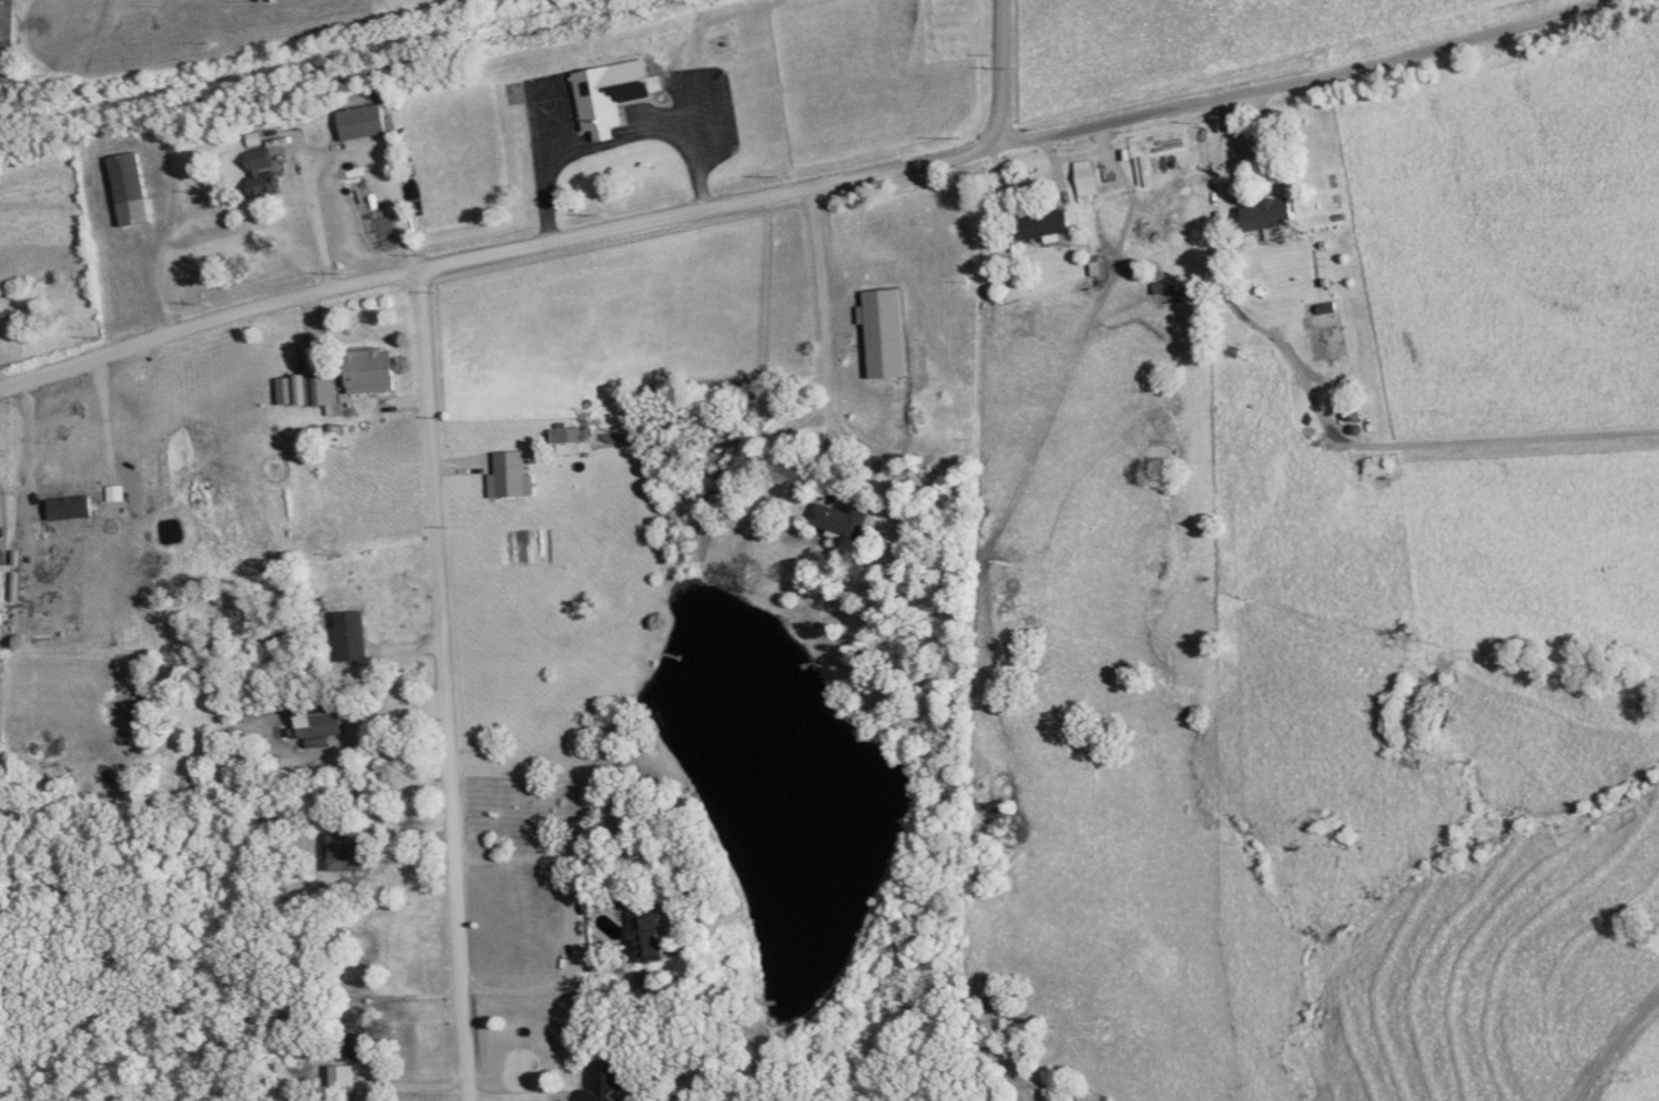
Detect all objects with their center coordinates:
building: (8, 39)
building: (614, 94)
building: (364, 121)
building: (263, 171)
building: (1089, 177)
road: (797, 187)
building: (135, 191)
building: (1272, 214)
building: (1051, 223)
road: (816, 294)
building: (1329, 328)
building: (374, 369)
building: (323, 389)
road: (1317, 415)
building: (1378, 466)
building: (510, 473)
building: (843, 518)
building: (2, 578)
building: (356, 634)
road: (446, 684)
building: (323, 716)
building: (348, 853)
road: (567, 925)
building: (651, 932)
road: (1610, 1041)
building: (363, 1042)
building: (604, 1082)
road: (407, 1084)
road: (519, 1094)

